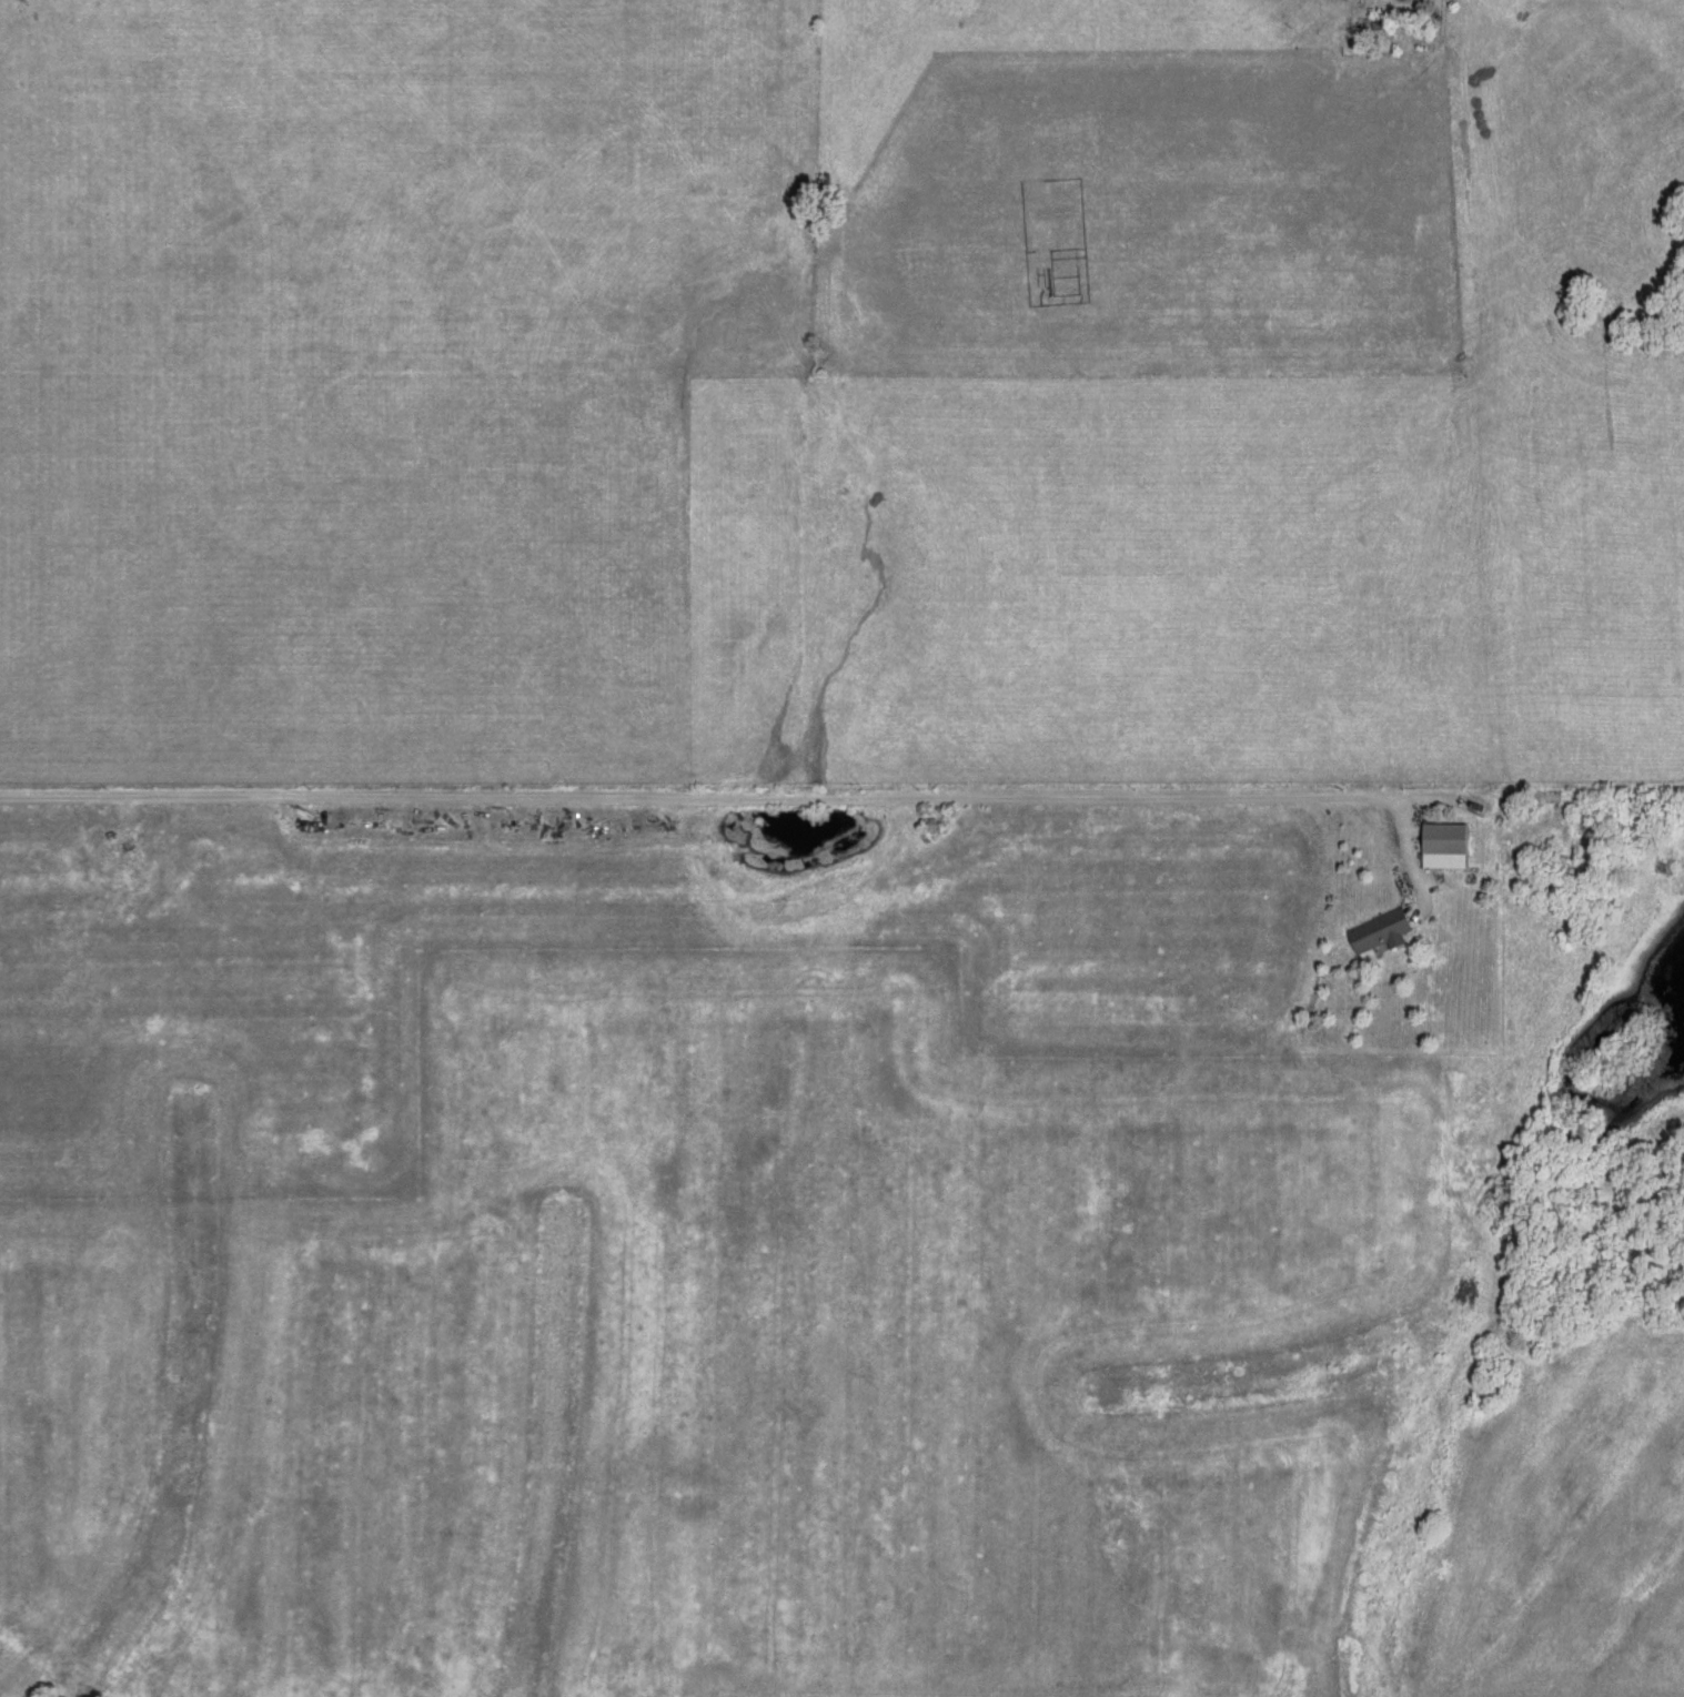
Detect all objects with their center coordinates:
building: (1395, 3)
building: (1330, 8)
road: (700, 799)
building: (1442, 846)
building: (1378, 931)

